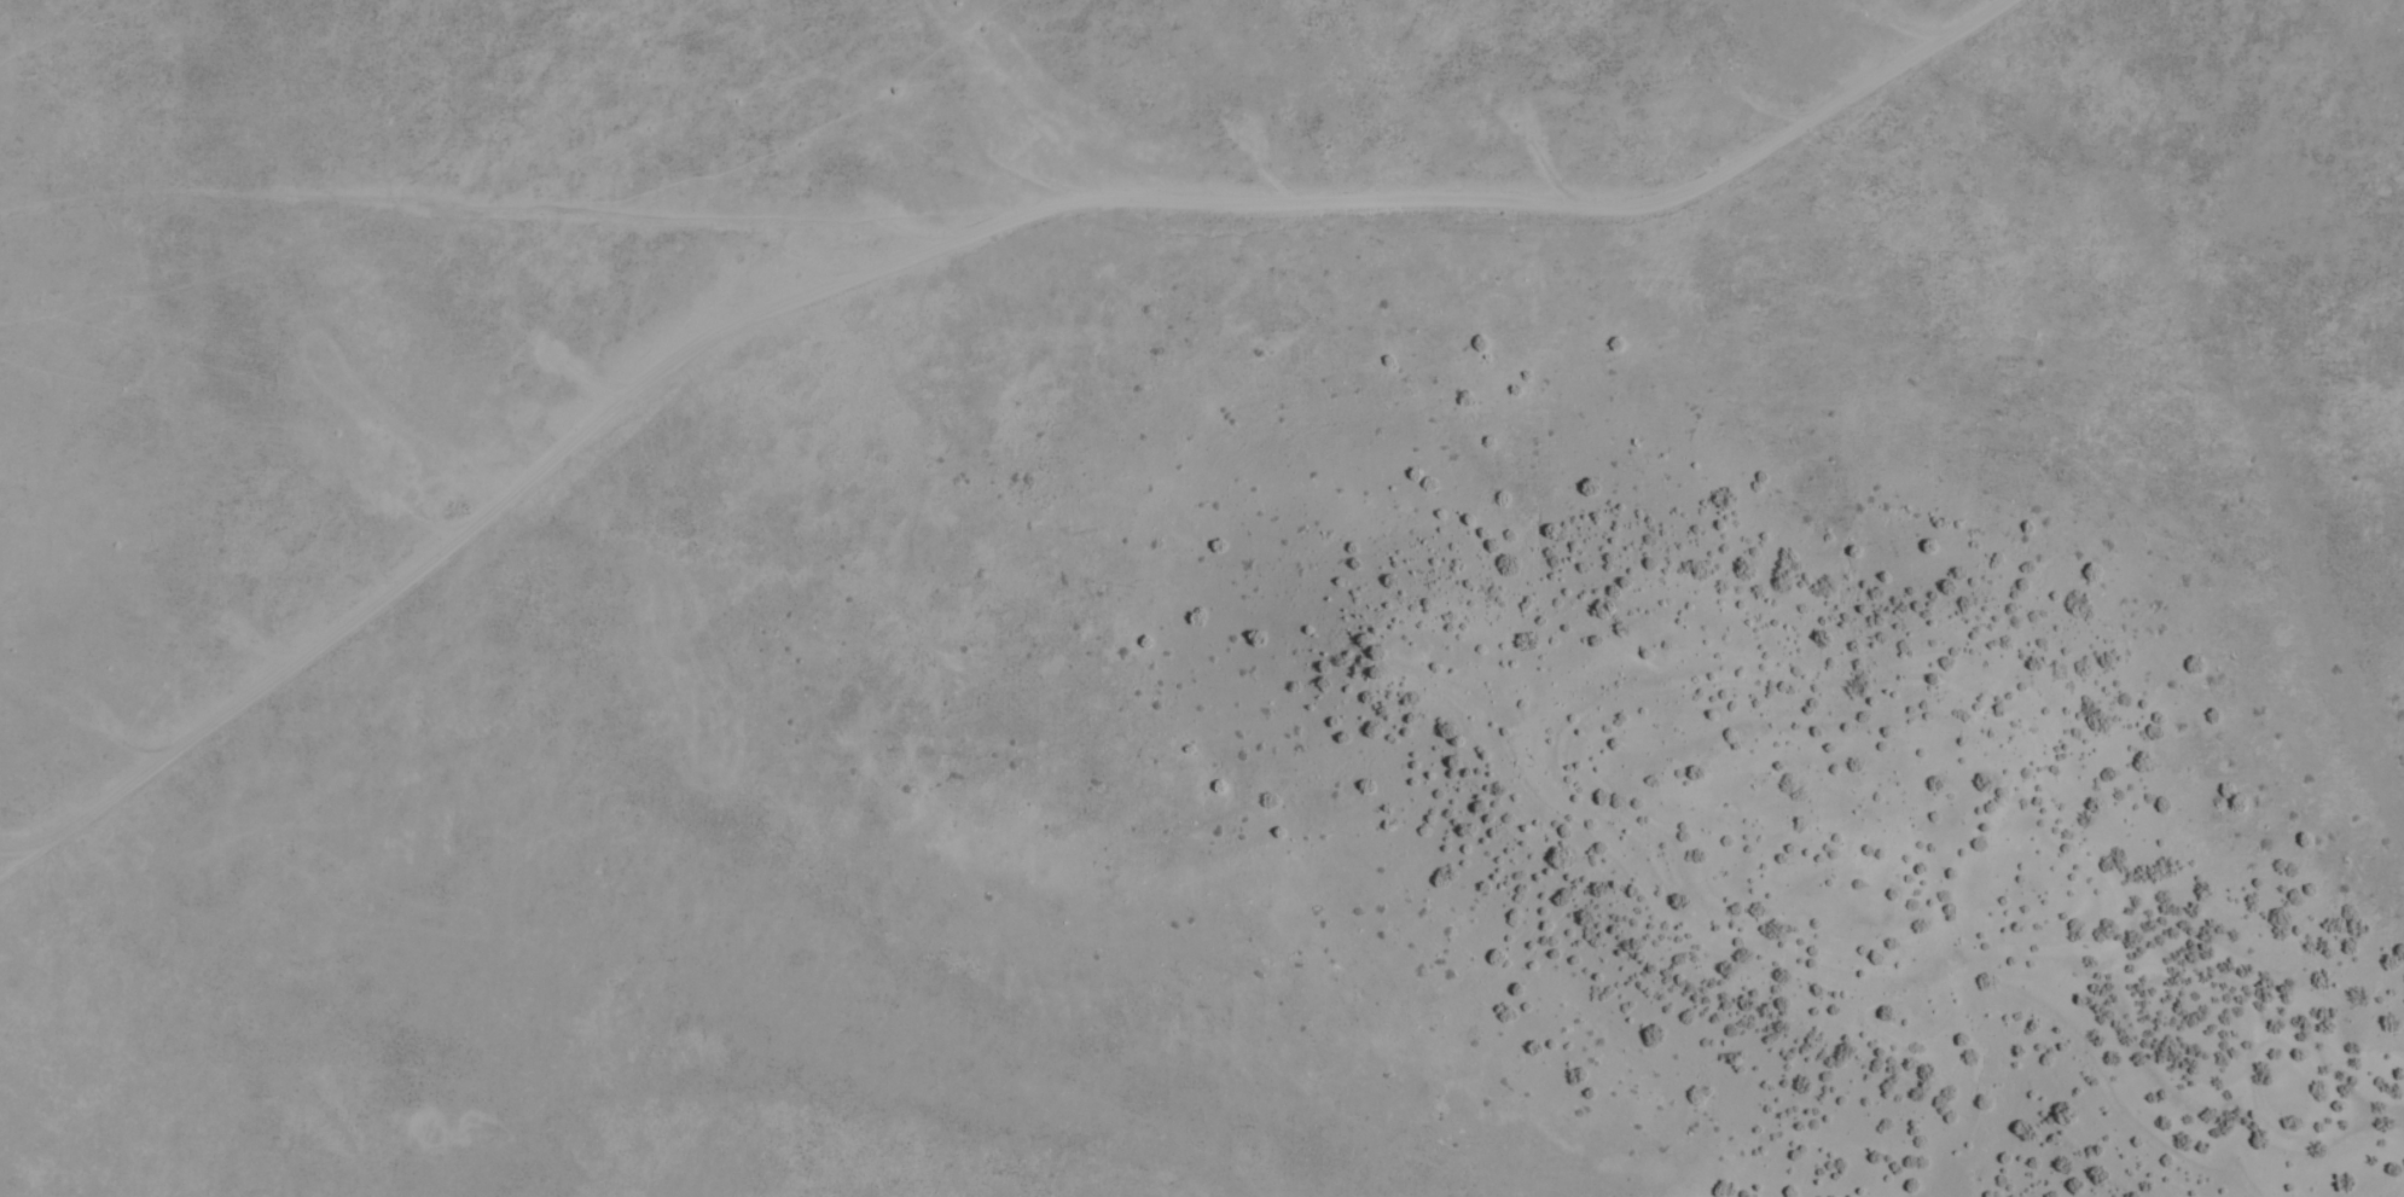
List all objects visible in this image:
road: (942, 239)

